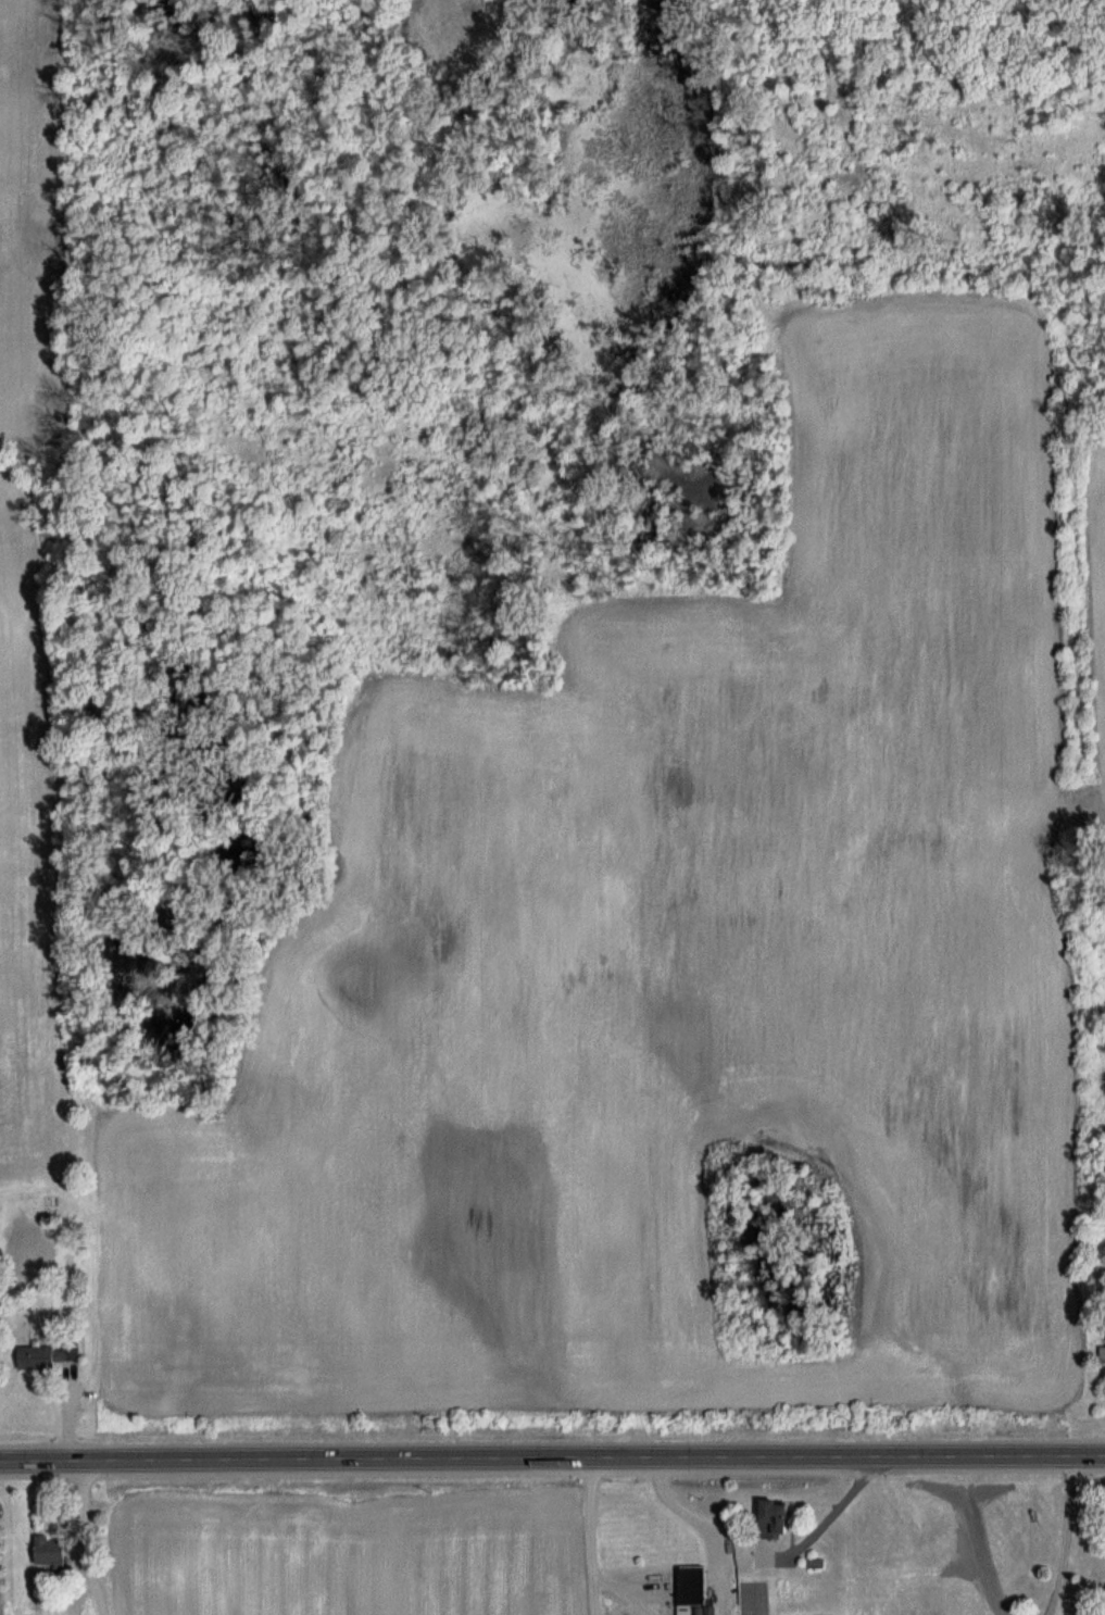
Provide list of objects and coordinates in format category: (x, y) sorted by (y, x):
building: (52, 1207)
building: (48, 1356)
road: (552, 1455)
building: (778, 1515)
road: (829, 1518)
road: (1069, 1536)
crop: (1103, 1547)
building: (51, 1551)
building: (692, 1589)

